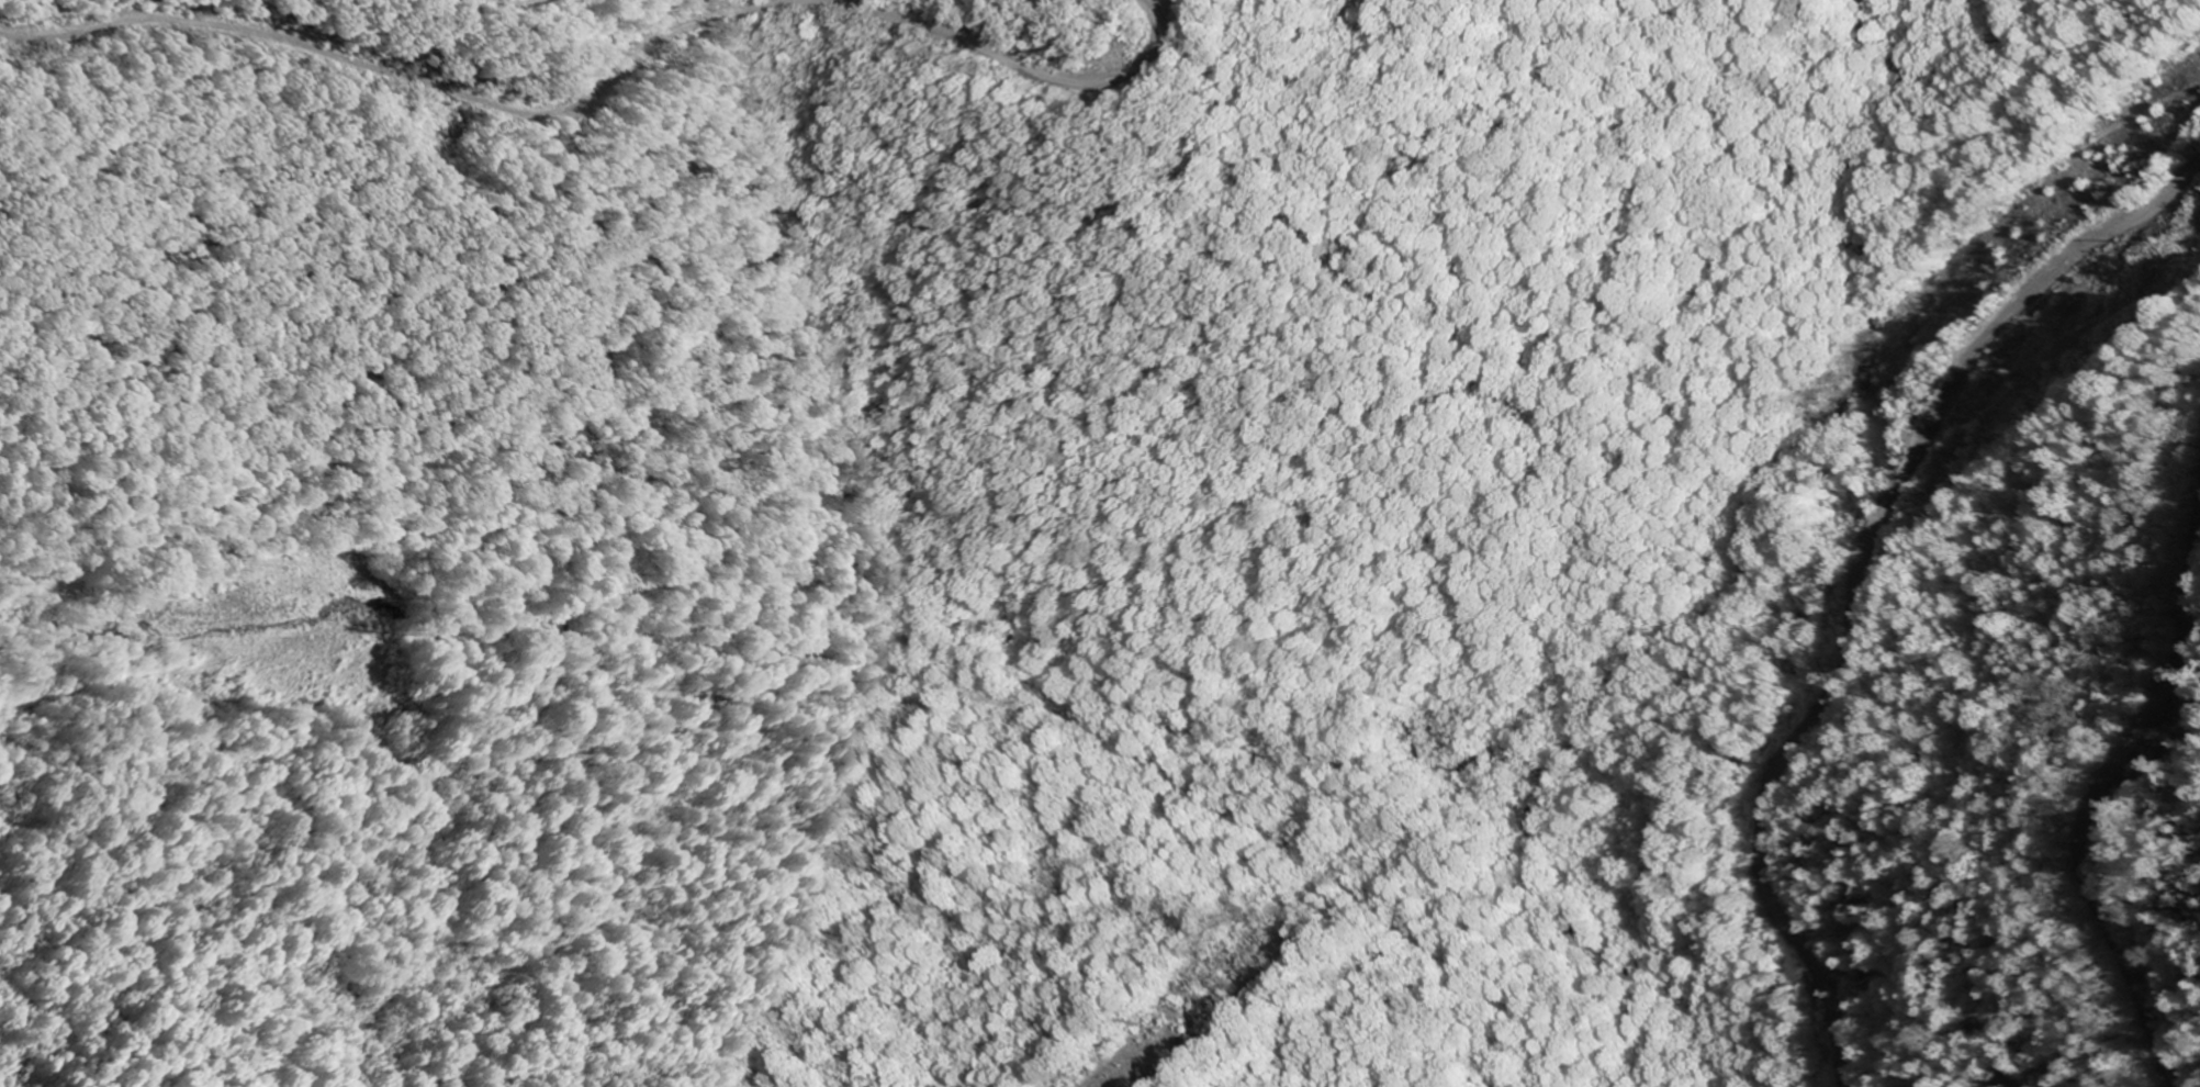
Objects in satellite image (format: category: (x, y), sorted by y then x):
power tower: (2046, 212)
power tower: (2168, 258)
road: (1867, 589)

